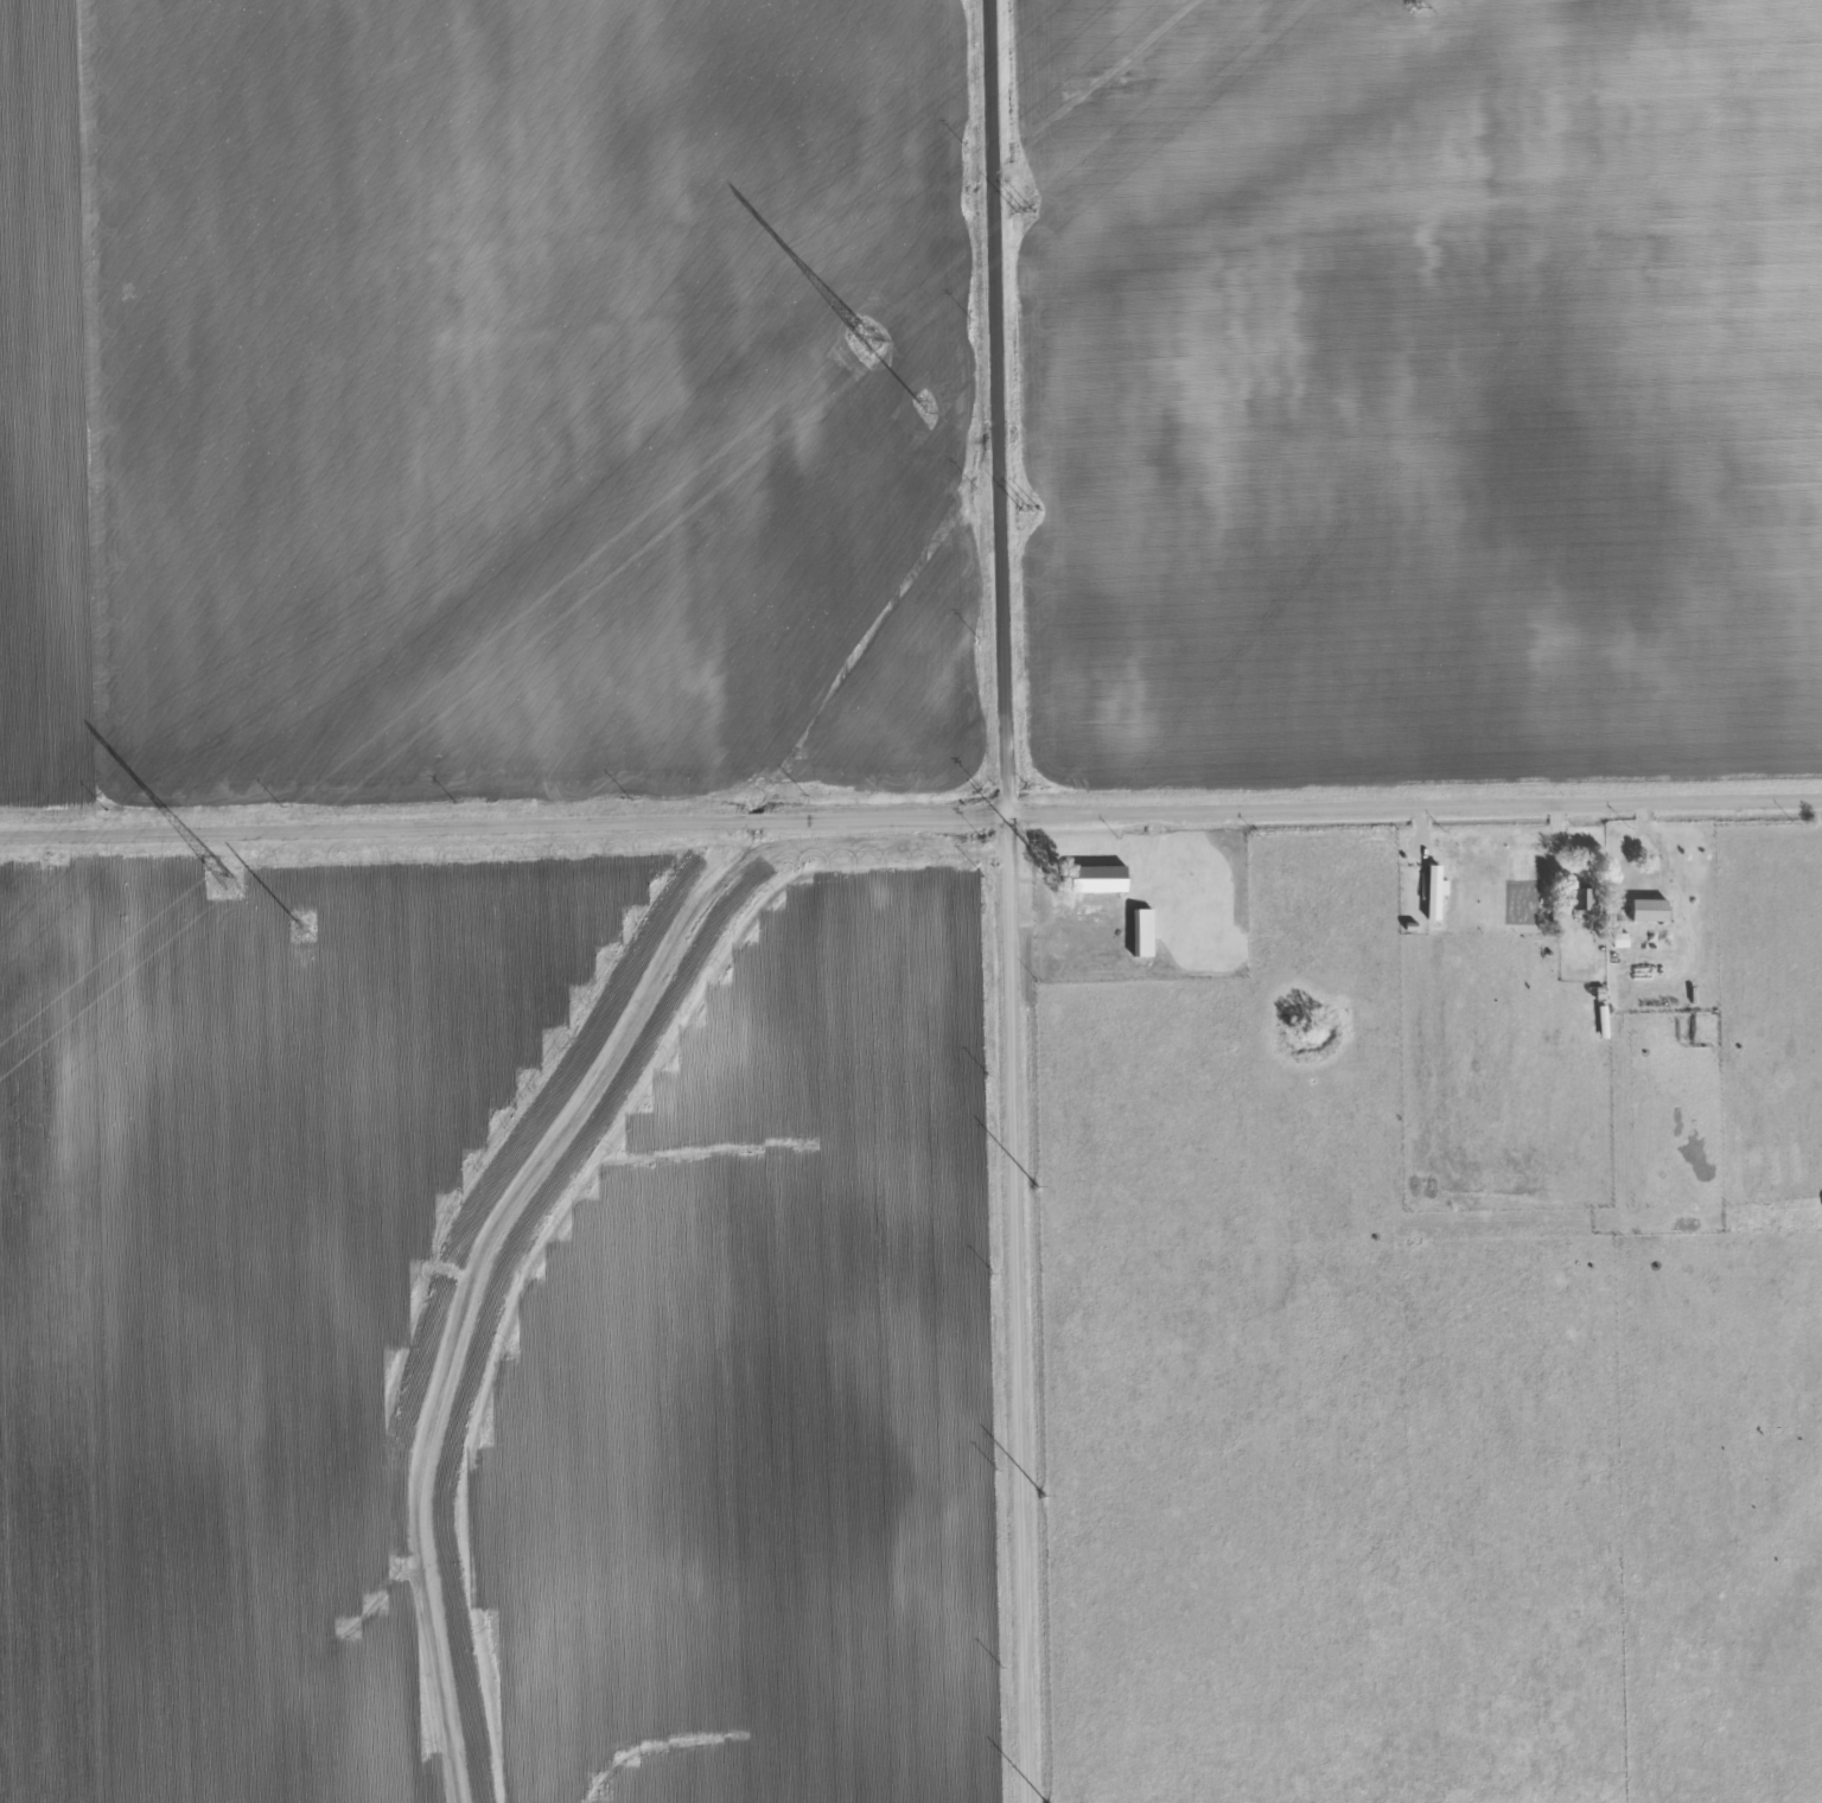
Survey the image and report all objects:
power tower: (1407, 0)
power tower: (865, 338)
power tower: (919, 408)
road: (911, 822)
road: (1614, 855)
power tower: (219, 872)
building: (1098, 880)
building: (1433, 893)
road: (1006, 900)
building: (1581, 900)
building: (1649, 911)
road: (1038, 920)
power tower: (294, 925)
building: (1142, 934)

